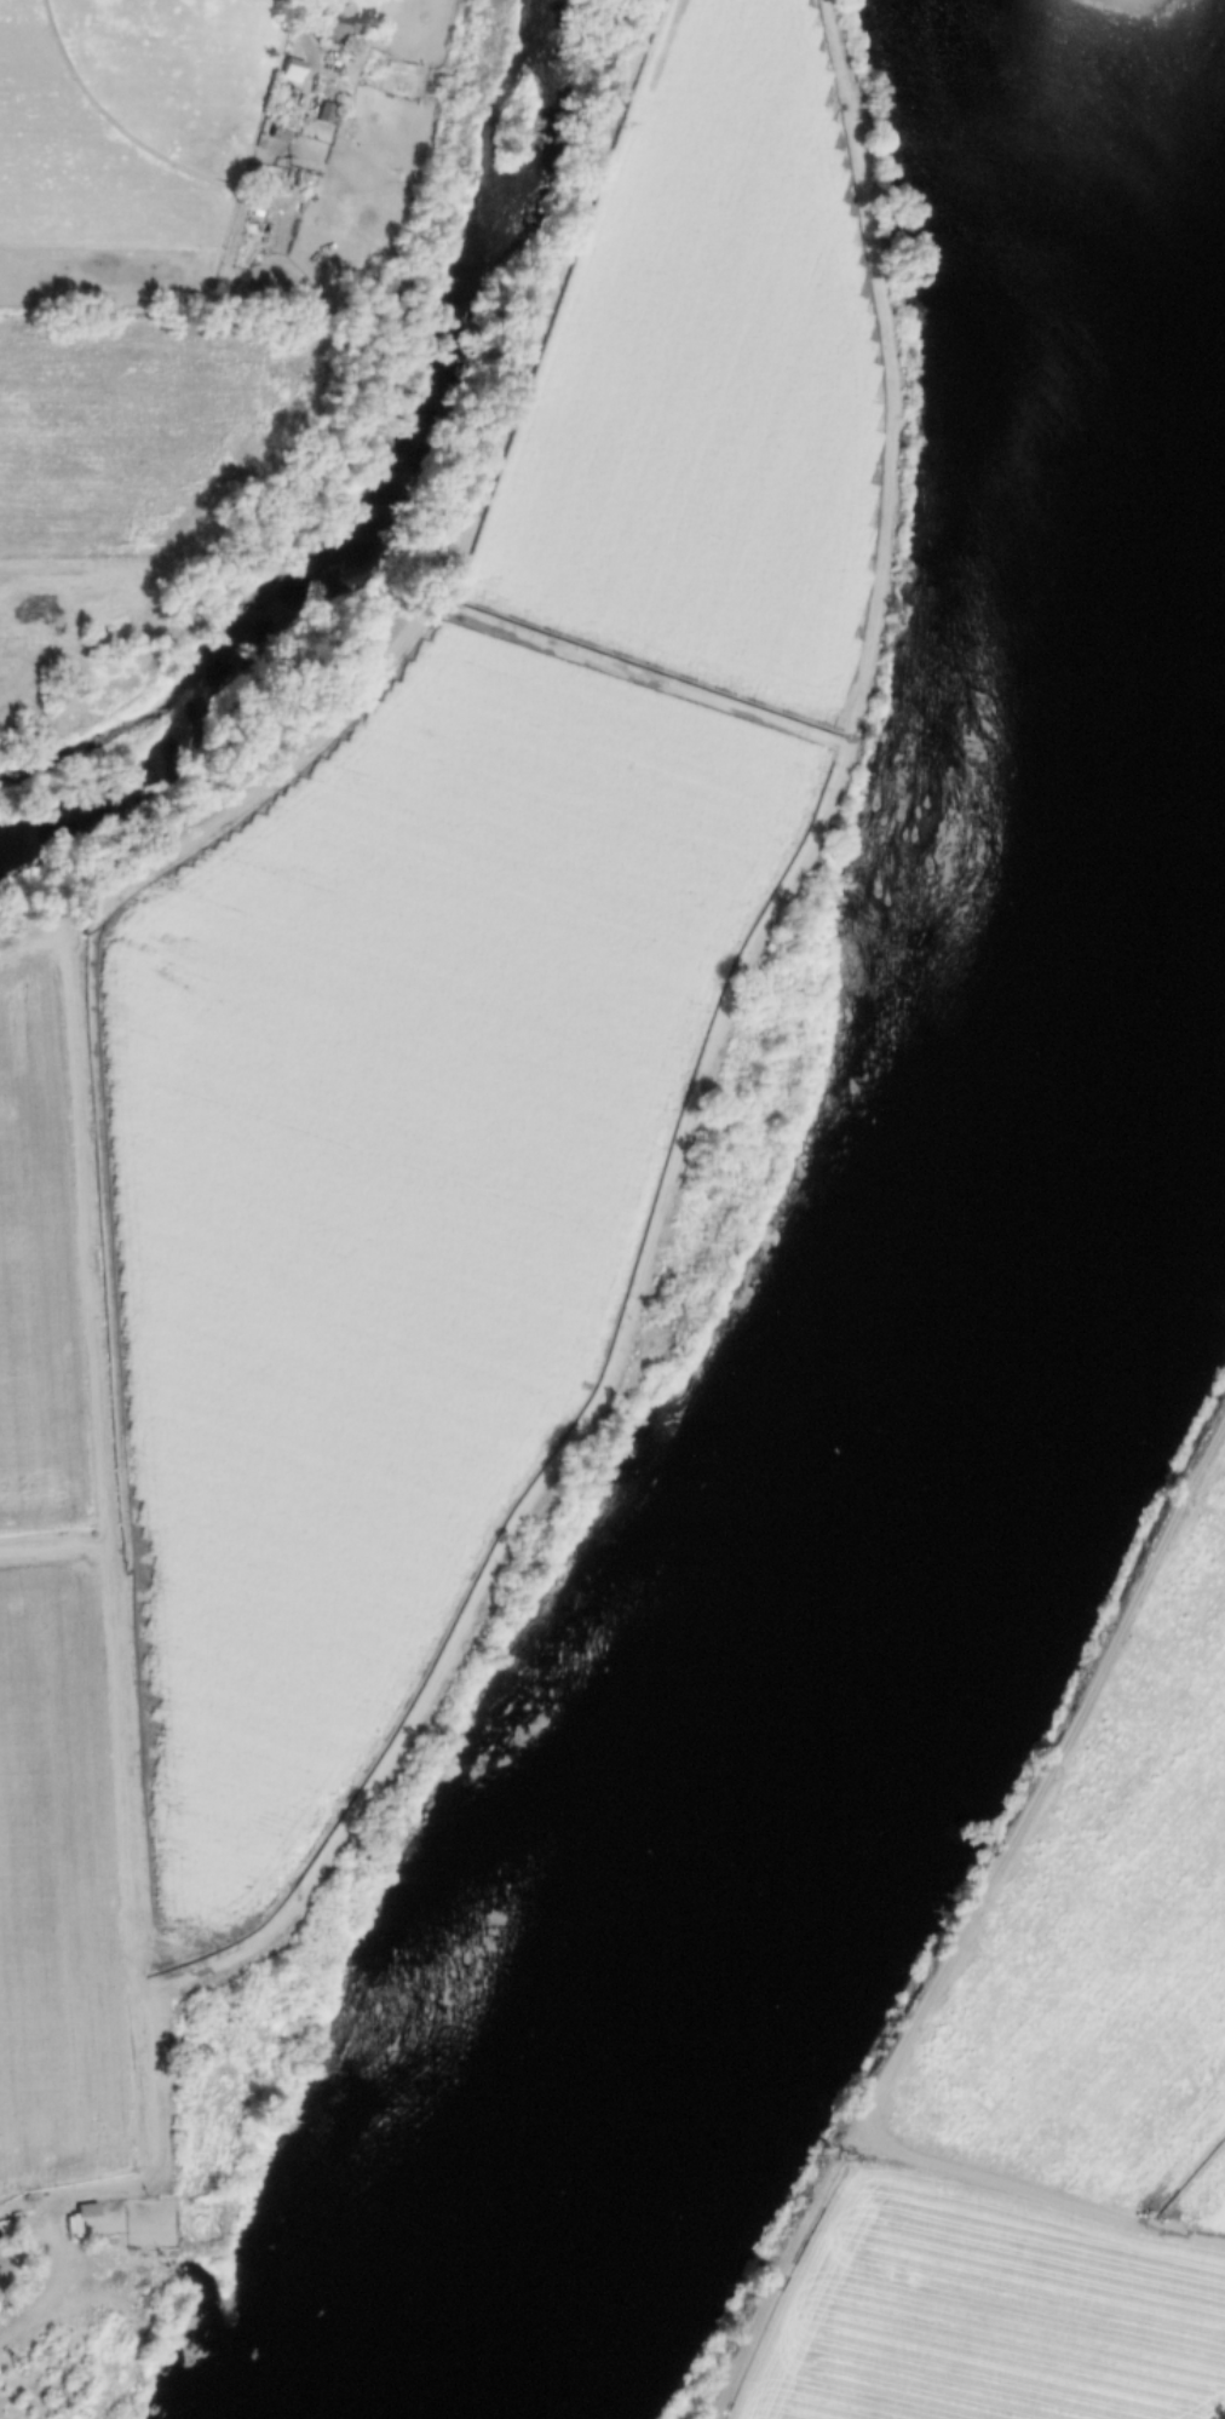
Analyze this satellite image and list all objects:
building: (338, 27)
building: (291, 70)
building: (280, 137)
river: (885, 1496)
road: (117, 1667)
road: (971, 1915)
building: (139, 2211)
building: (71, 2226)

